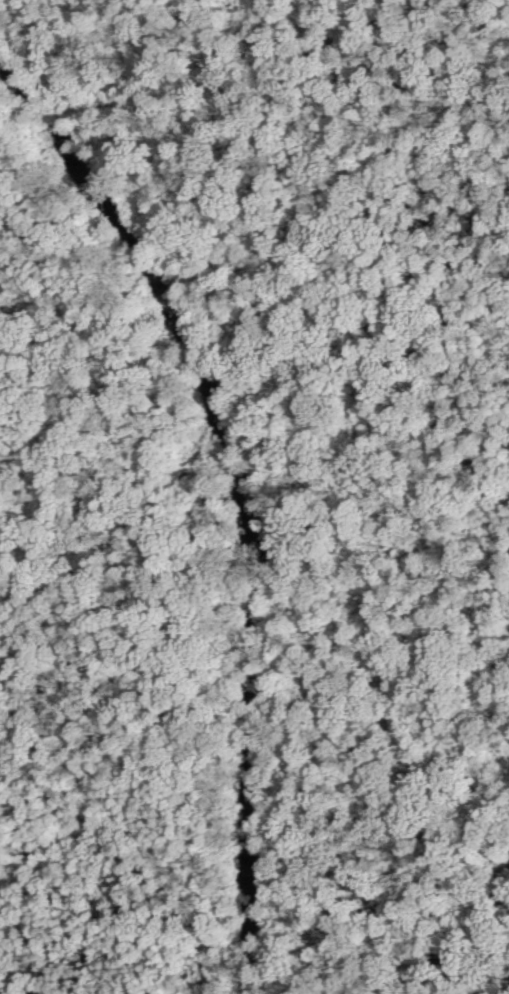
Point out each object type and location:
park: (254, 497)

